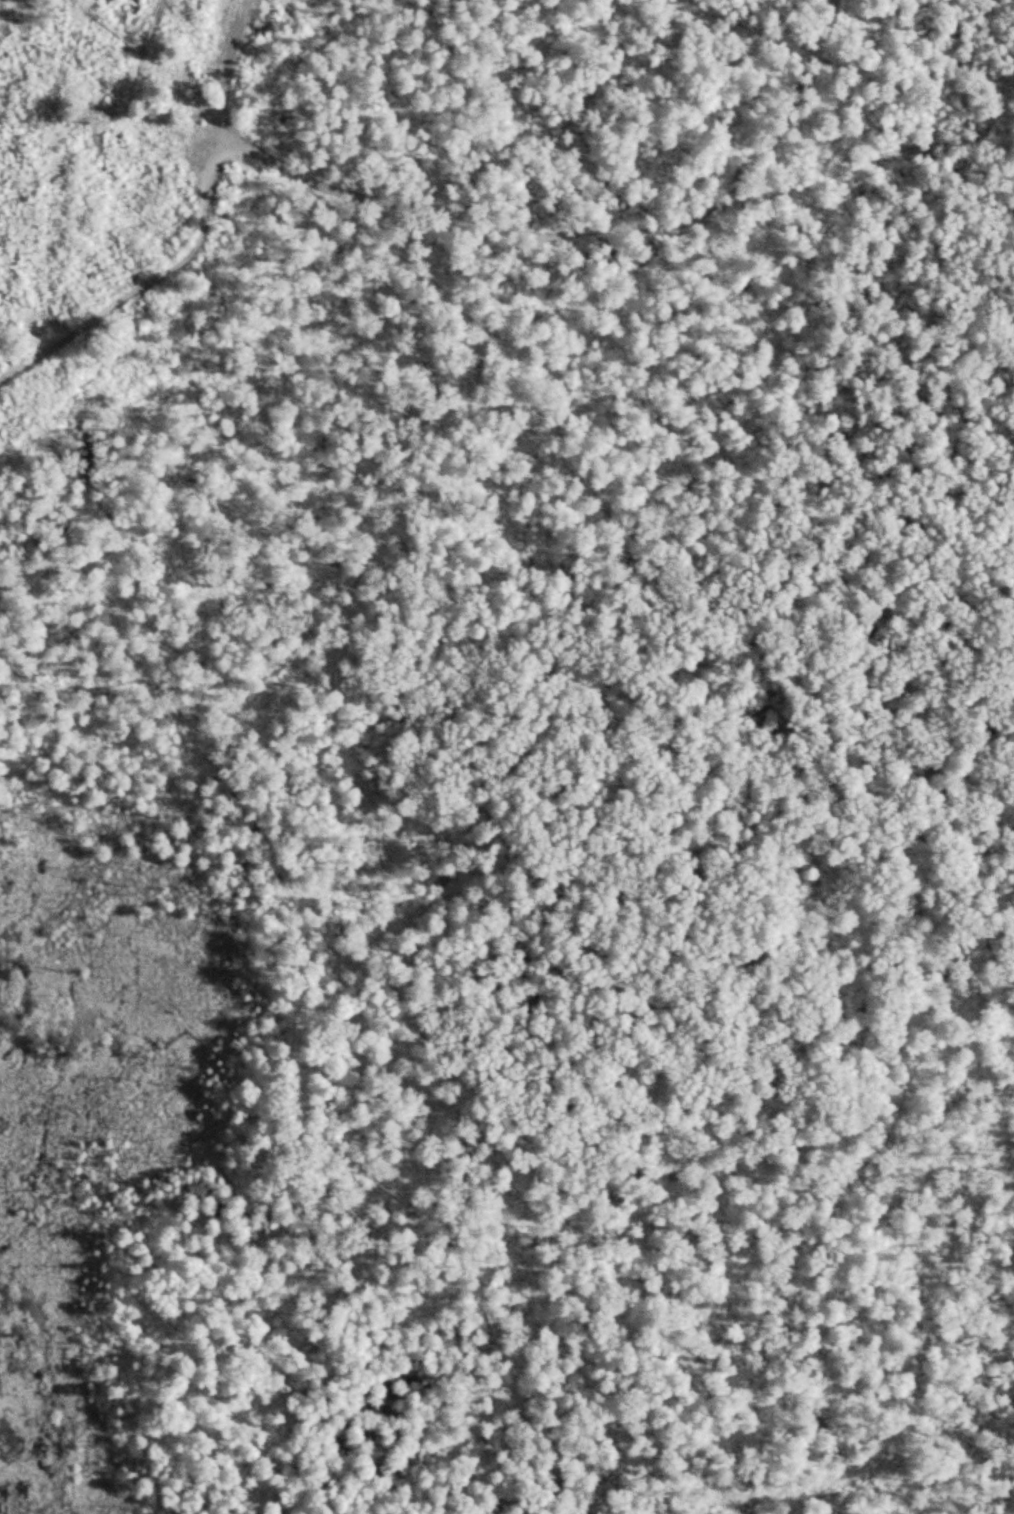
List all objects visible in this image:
road: (227, 301)

